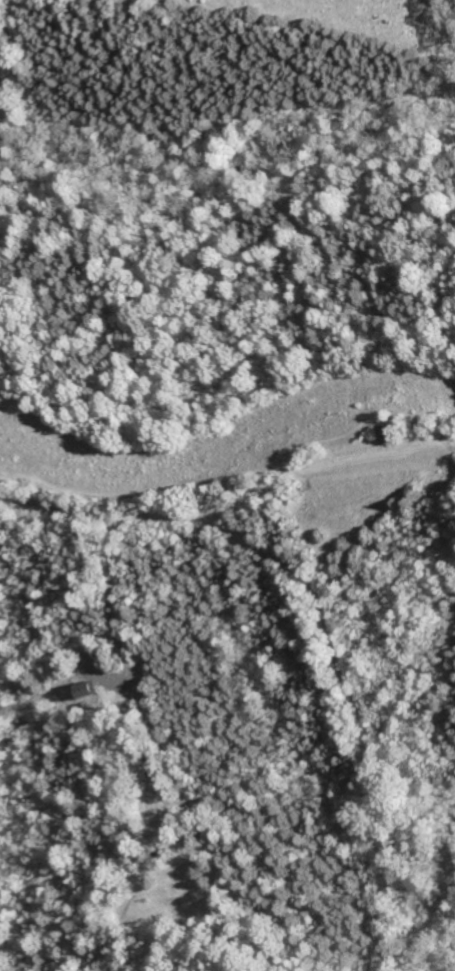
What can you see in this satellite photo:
building: (87, 689)

